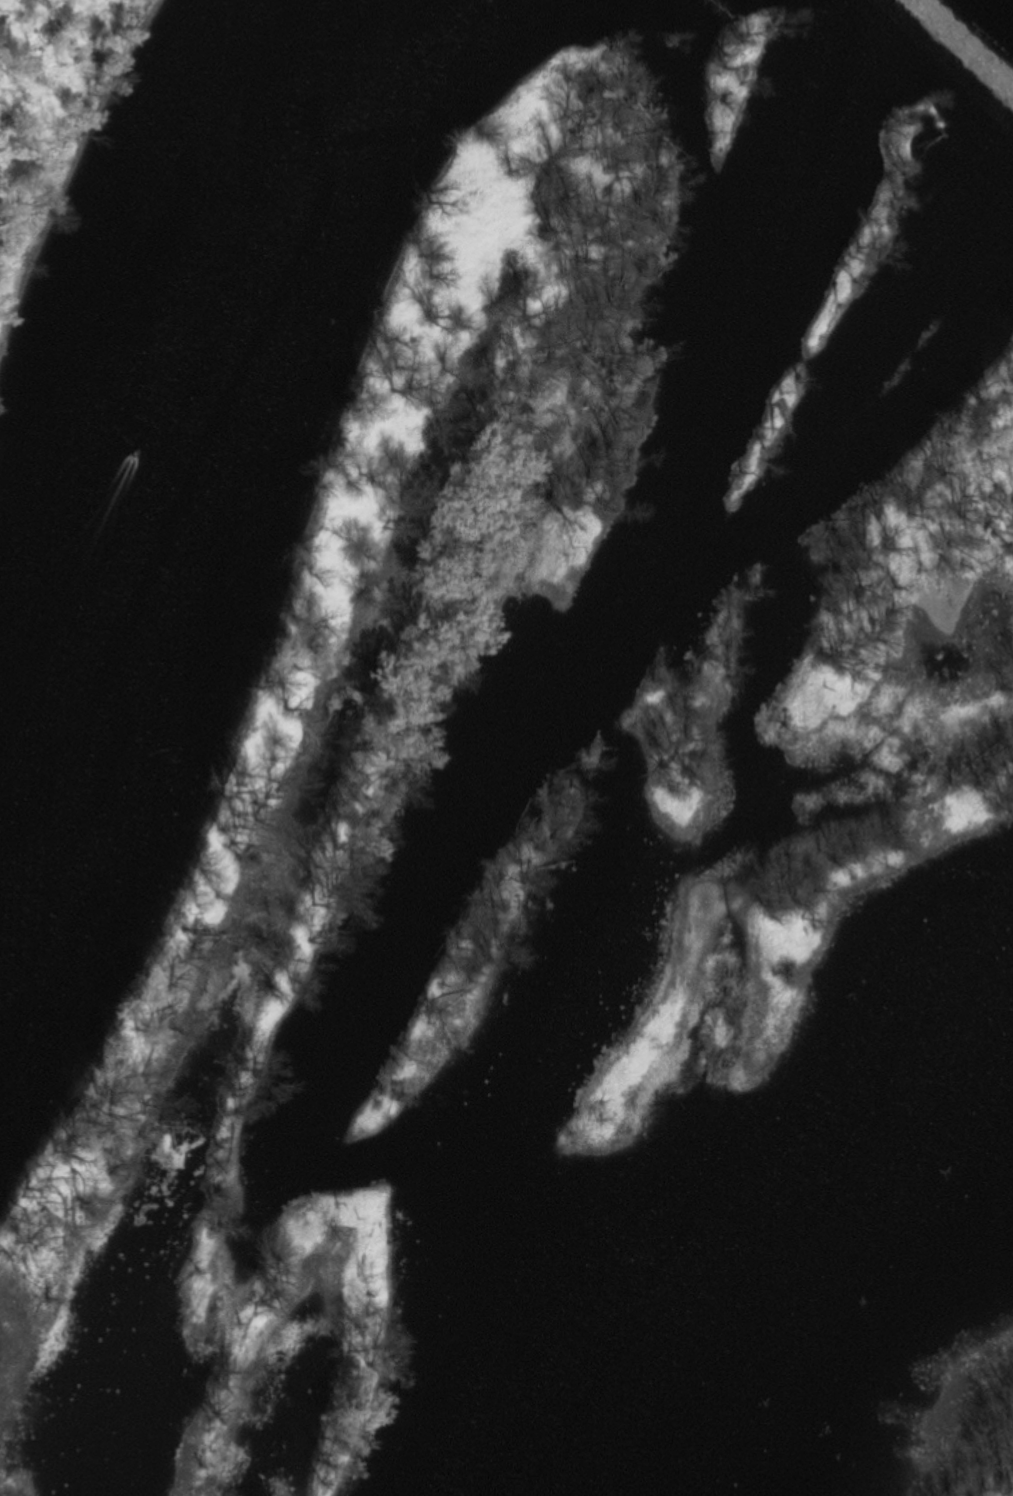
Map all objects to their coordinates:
dam: (963, 47)
river: (170, 433)

